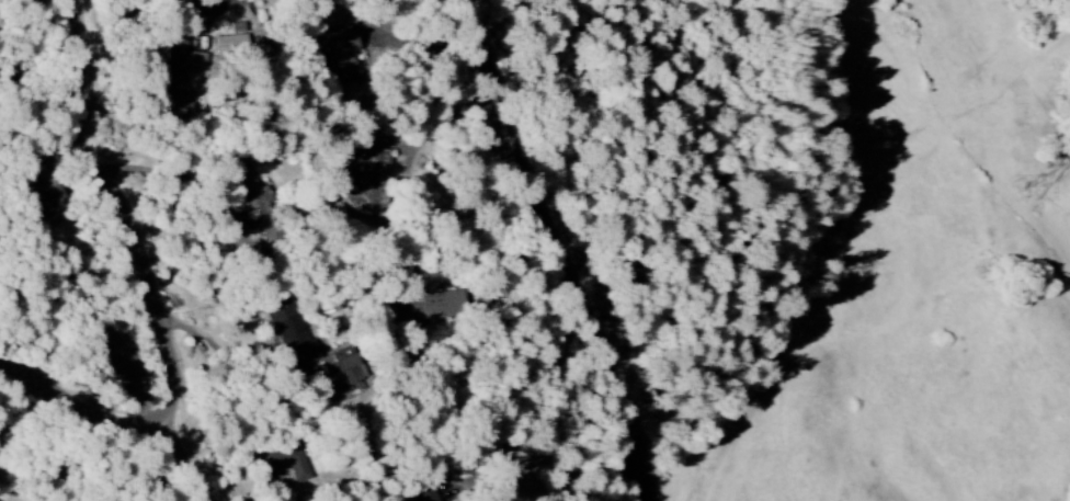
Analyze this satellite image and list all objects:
building: (337, 55)
building: (178, 69)
building: (372, 181)
building: (38, 189)
building: (257, 204)
road: (564, 248)
road: (158, 293)
building: (422, 308)
building: (289, 333)
building: (116, 357)
building: (345, 365)
road: (191, 459)
building: (286, 460)
building: (428, 494)

